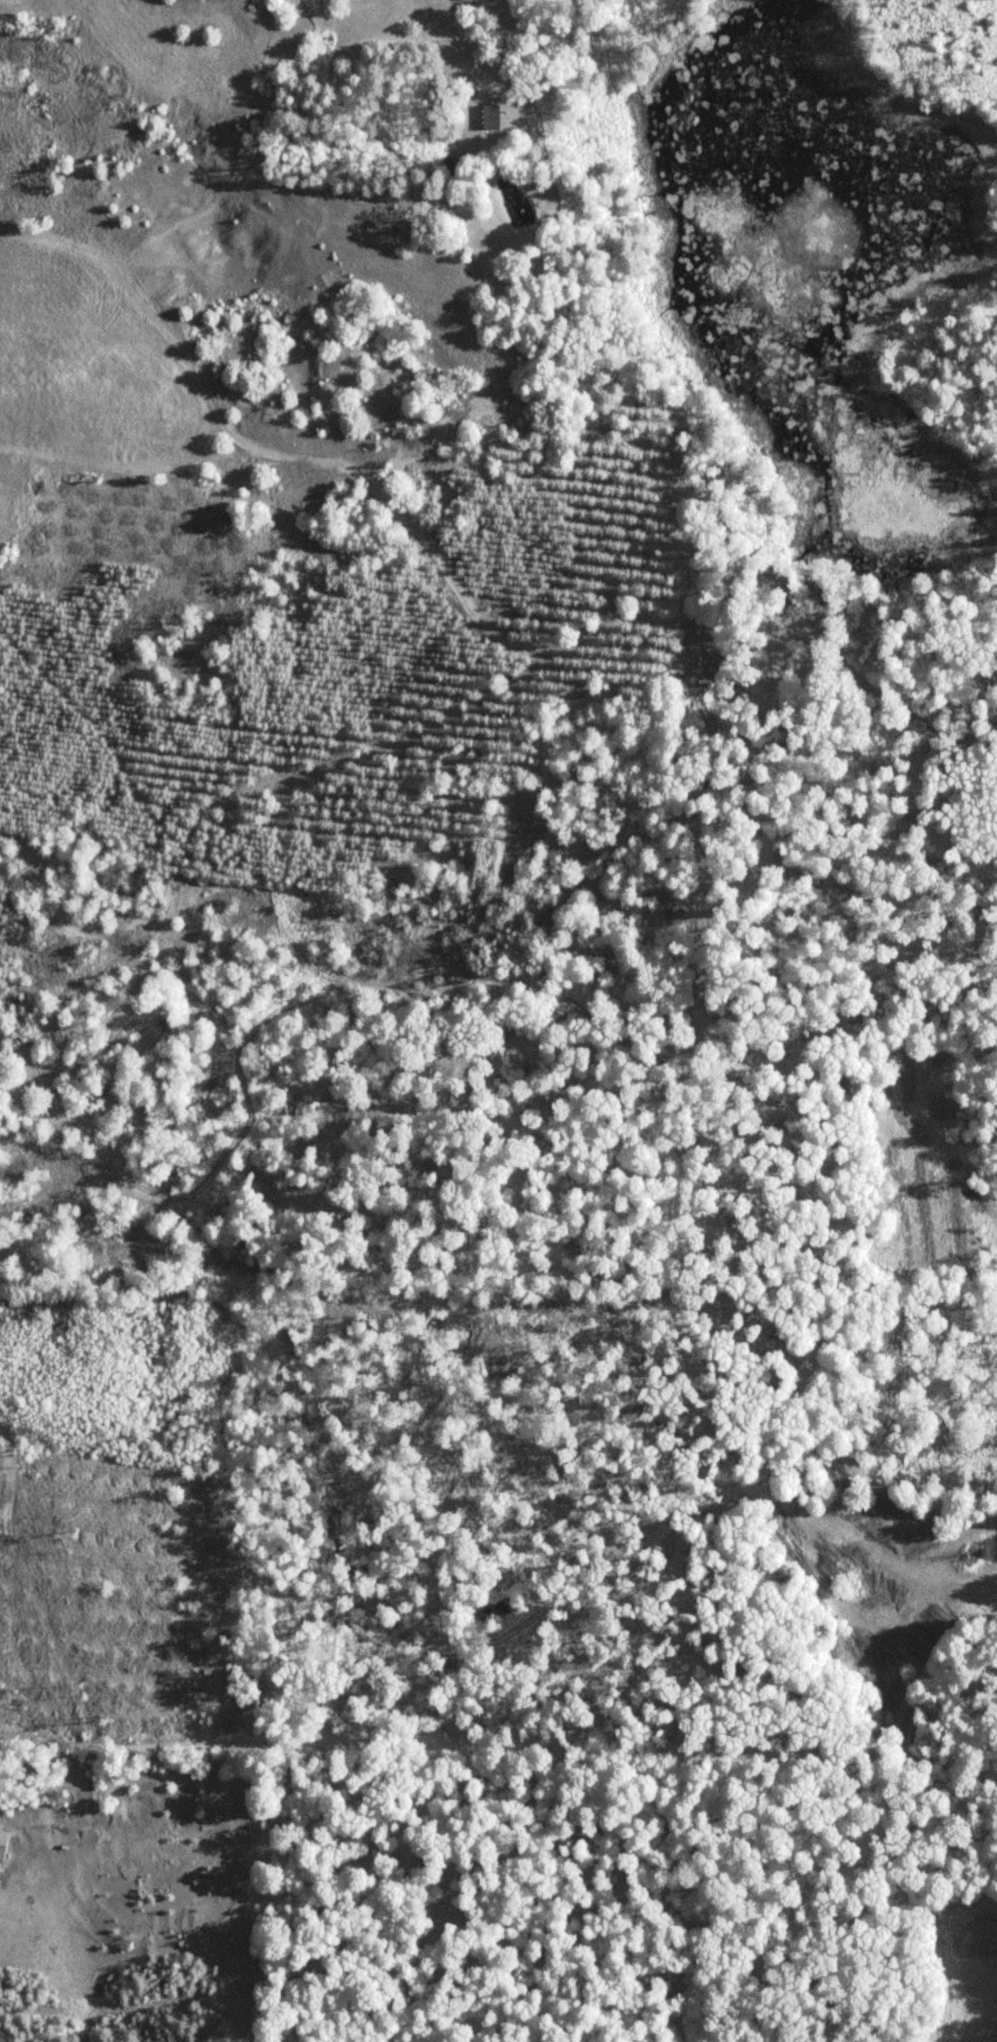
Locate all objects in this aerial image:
road: (444, 44)
building: (486, 117)
building: (451, 165)
building: (497, 1609)
park: (920, 1950)

